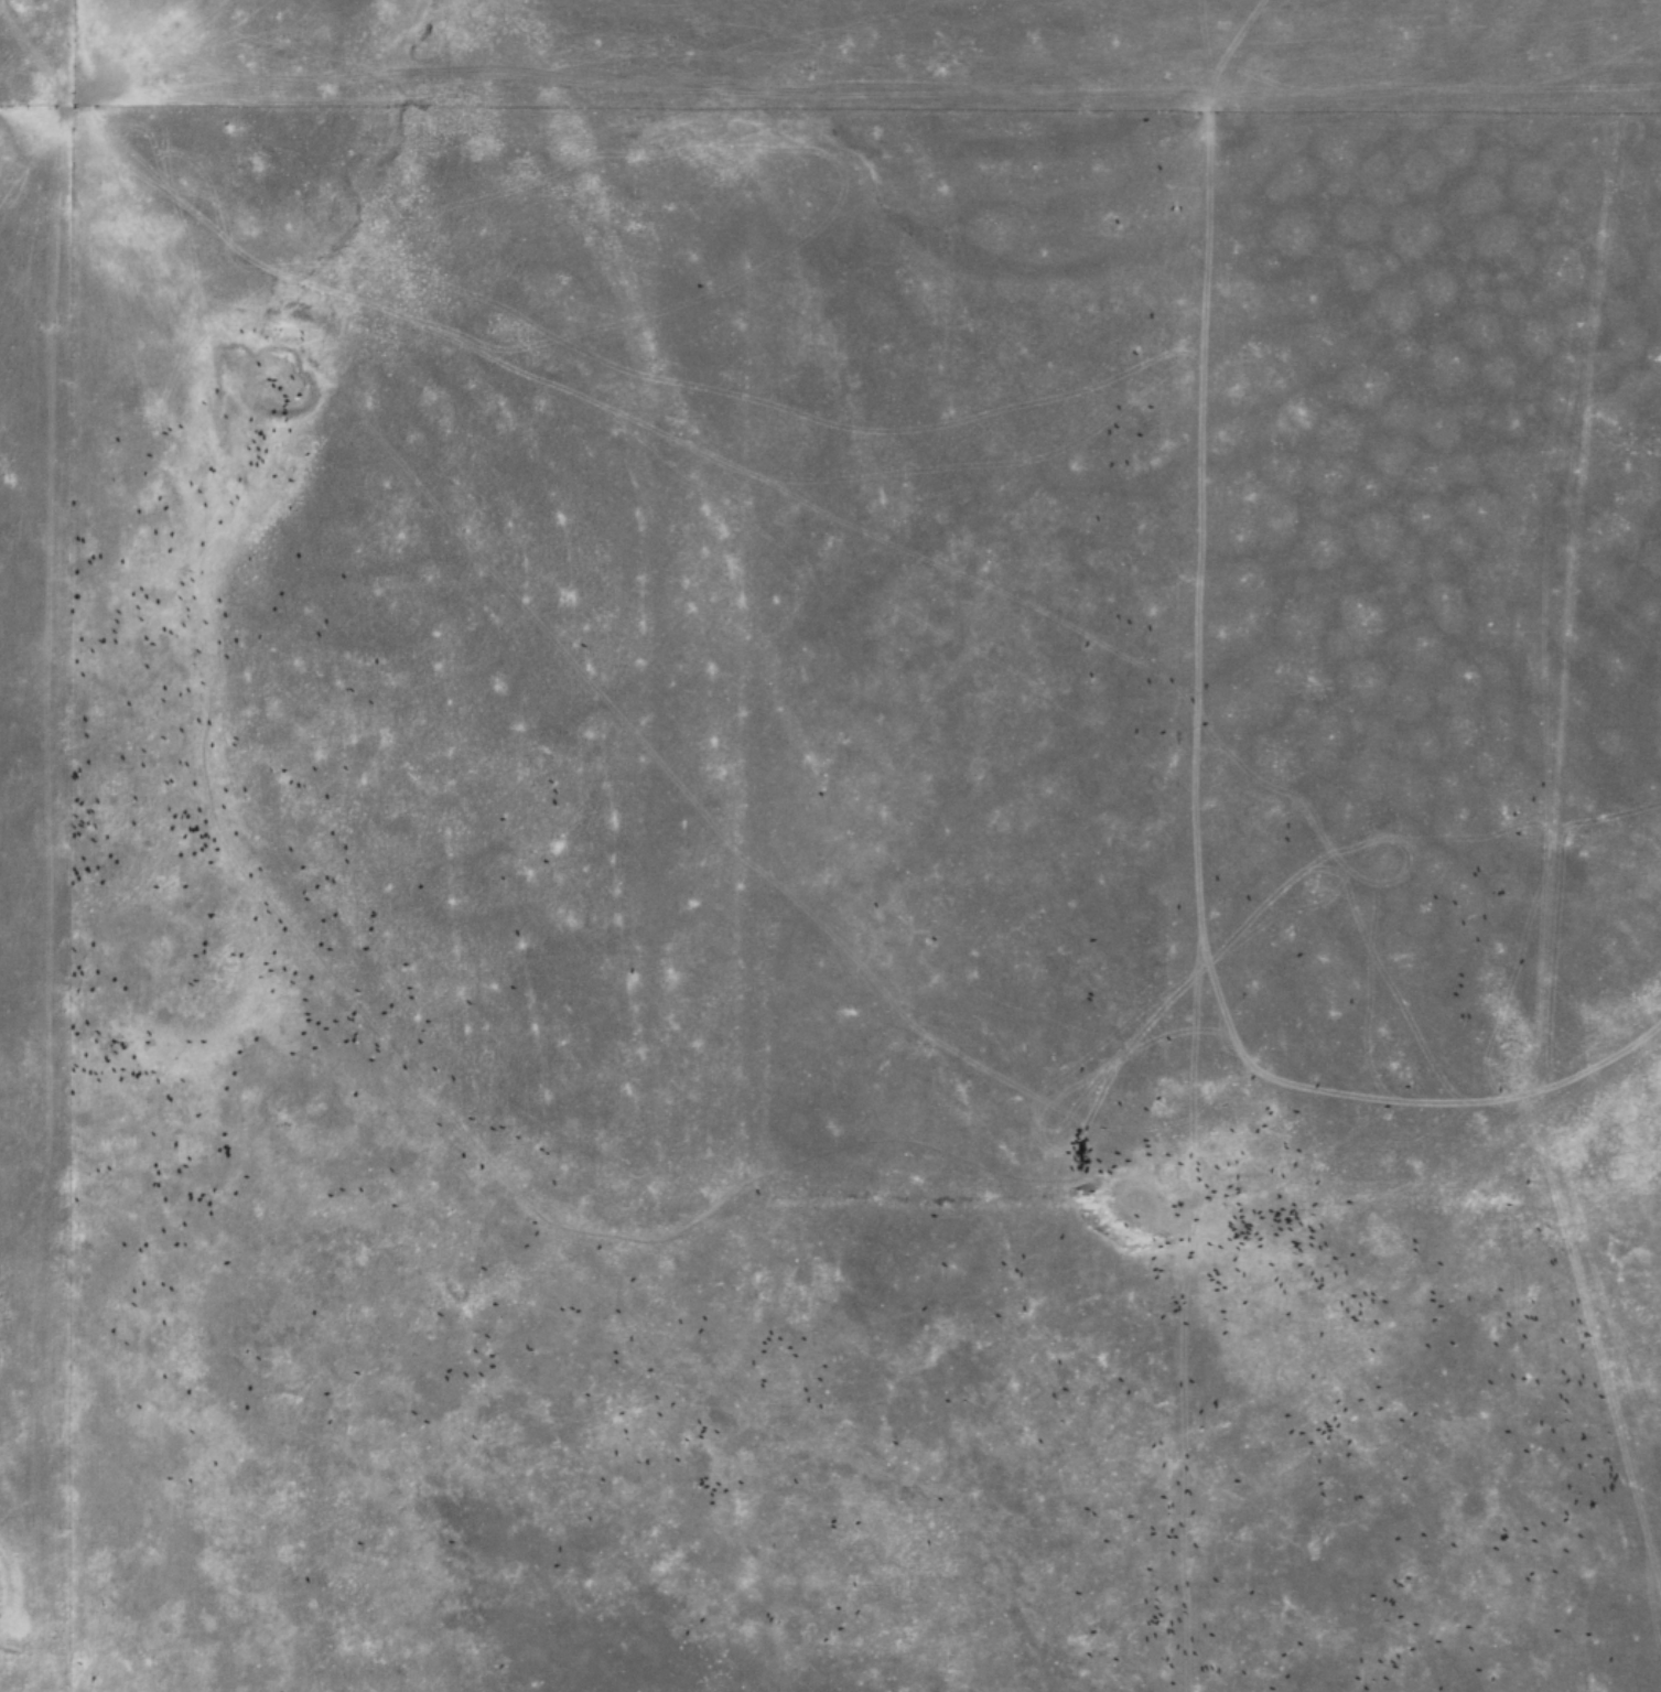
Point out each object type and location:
road: (1188, 732)
road: (43, 752)

